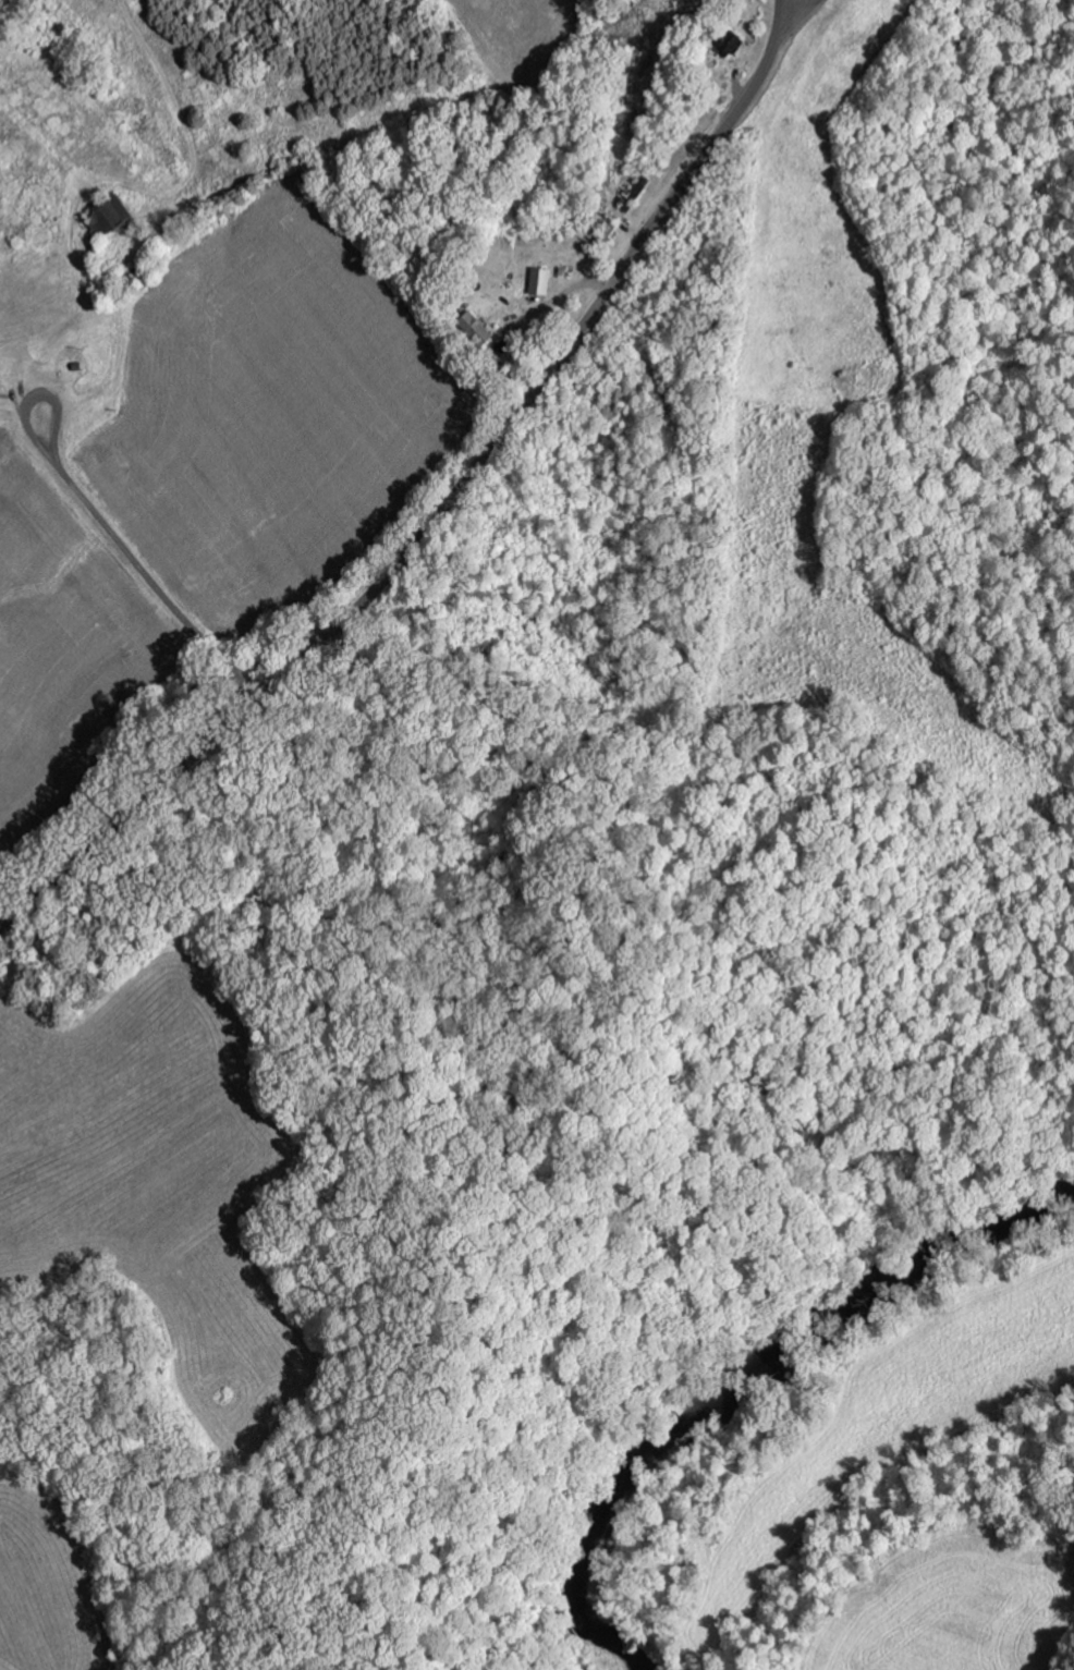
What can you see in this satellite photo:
road: (797, 17)
road: (781, 19)
building: (537, 280)
road: (65, 293)
road: (434, 522)
road: (112, 569)
road: (1002, 1550)

